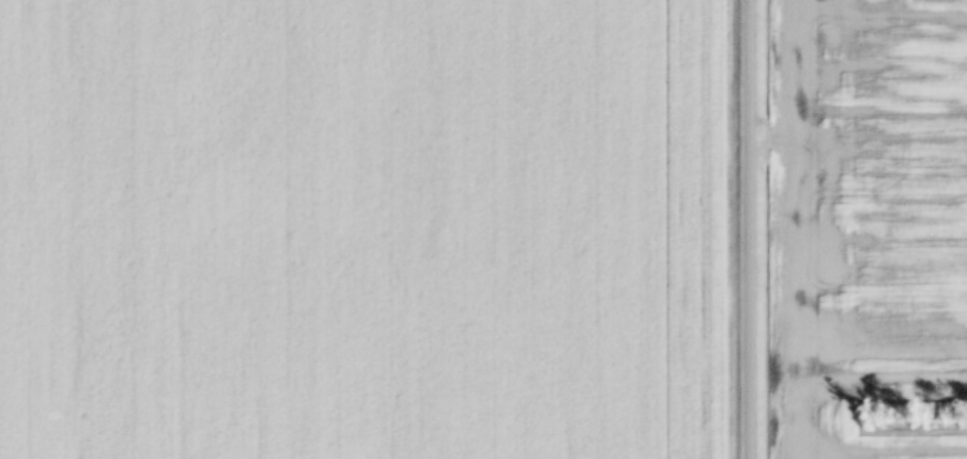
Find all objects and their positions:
road: (756, 229)

